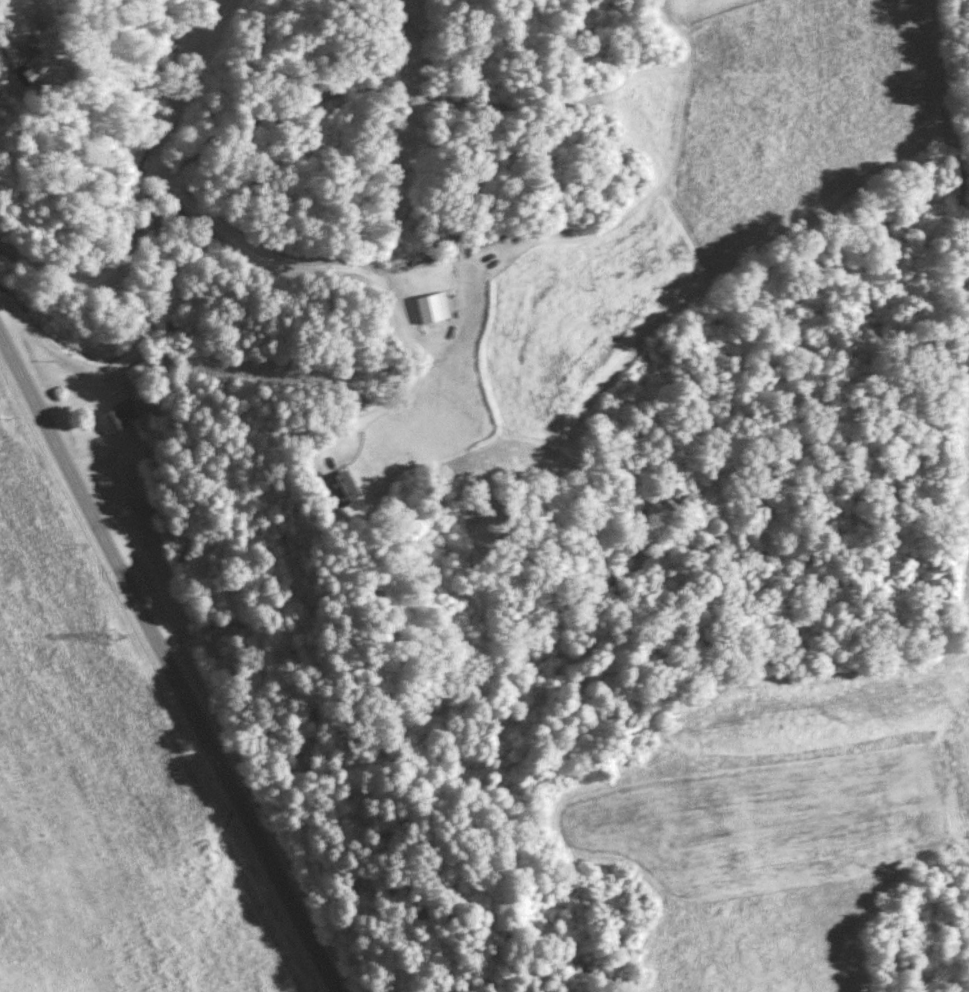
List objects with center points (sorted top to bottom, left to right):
road: (96, 128)
building: (433, 307)
building: (138, 372)
building: (125, 415)
building: (344, 484)
building: (169, 536)
road: (169, 664)

